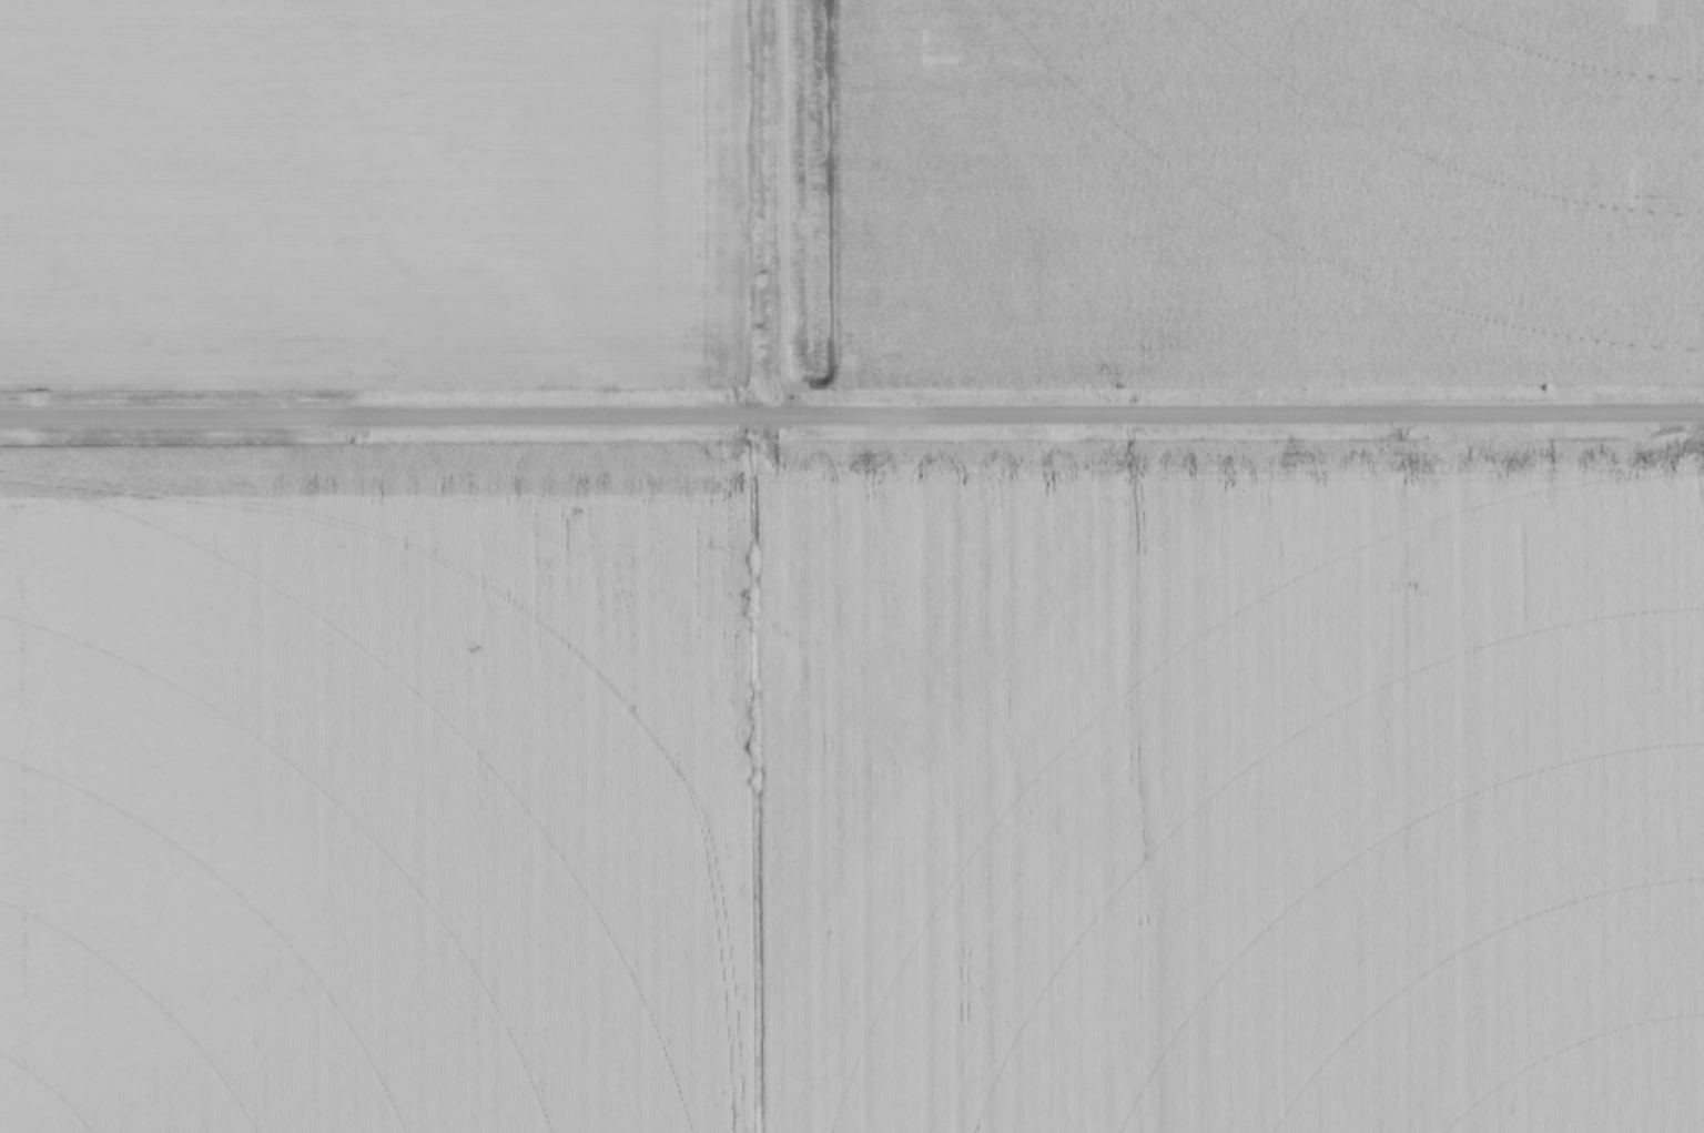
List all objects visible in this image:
road: (851, 416)

